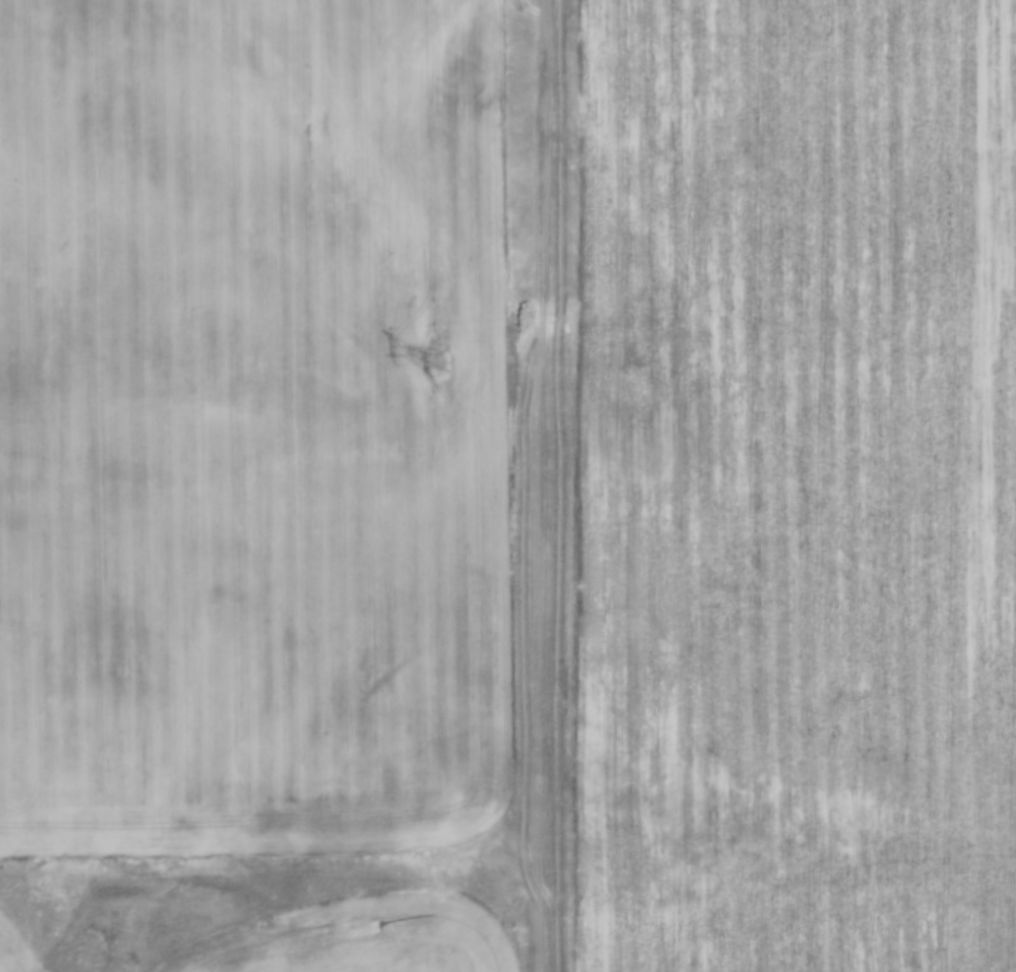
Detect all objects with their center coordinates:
power tower: (433, 367)
road: (546, 485)

